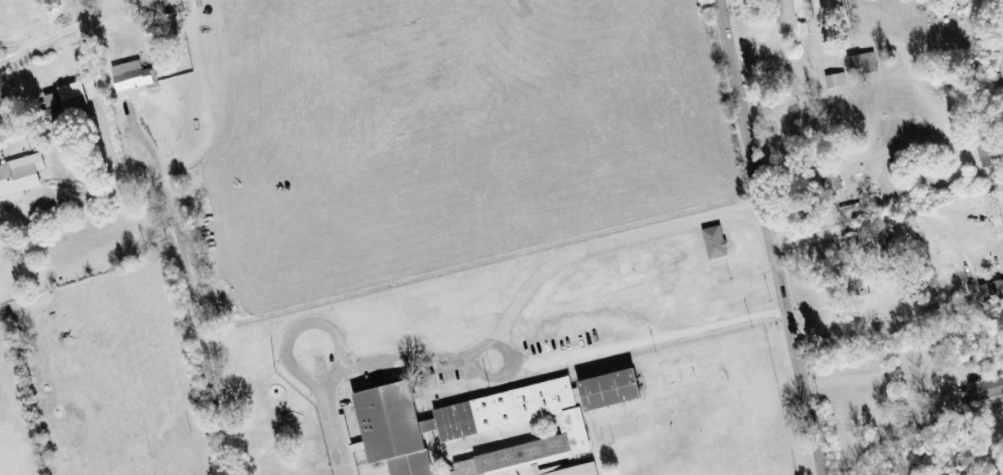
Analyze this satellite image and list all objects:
building: (786, 17)
building: (865, 63)
building: (134, 79)
building: (838, 81)
building: (76, 98)
building: (54, 105)
building: (986, 148)
building: (22, 176)
road: (16, 233)
road: (771, 237)
building: (717, 243)
road: (215, 283)
building: (993, 292)
road: (54, 332)
building: (987, 390)
building: (490, 423)
building: (581, 470)

